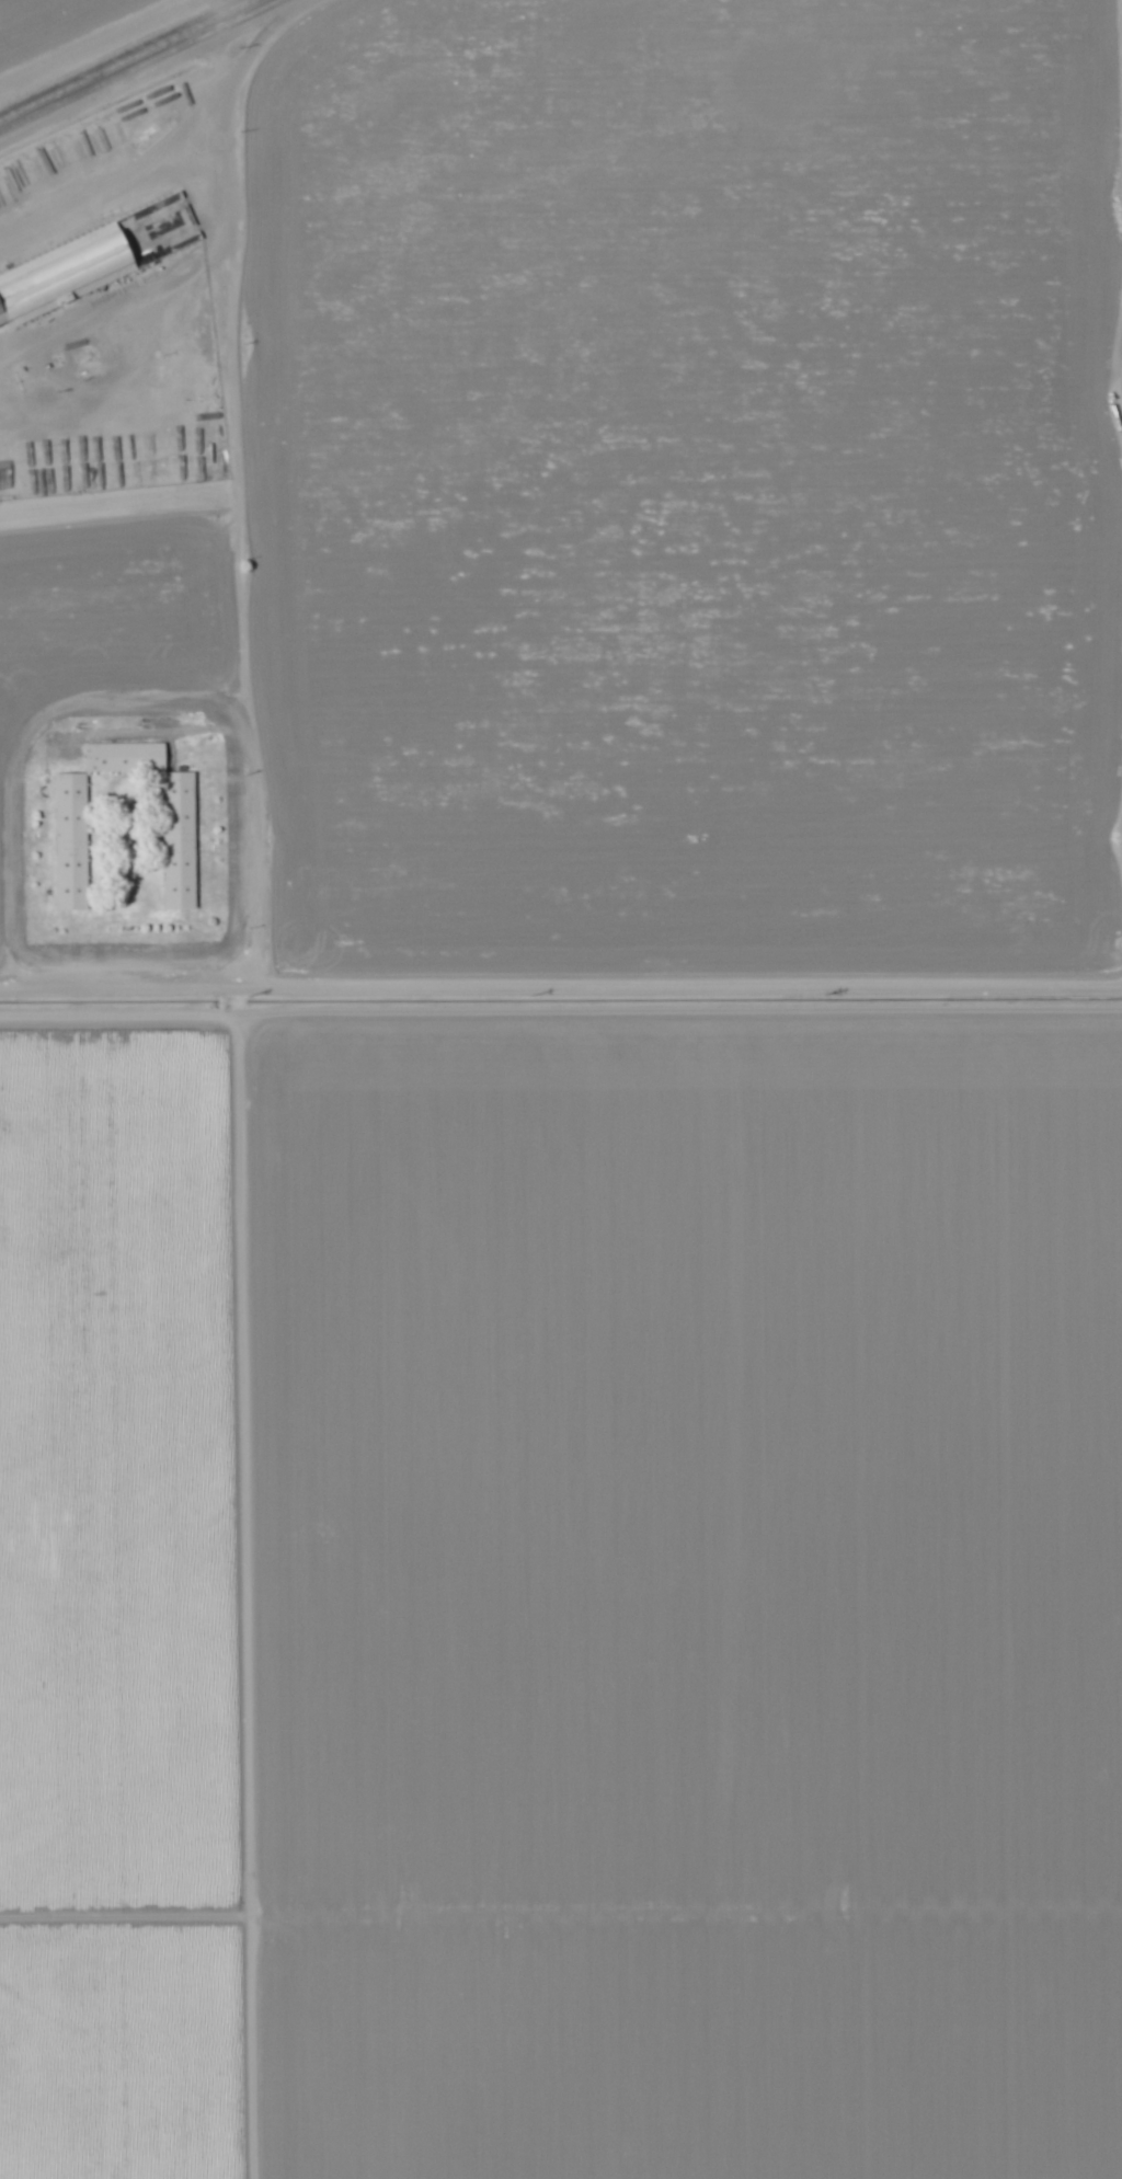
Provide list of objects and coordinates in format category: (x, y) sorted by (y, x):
road: (1121, 22)
crop: (83, 36)
railway: (117, 55)
road: (106, 57)
railway: (127, 60)
railway: (139, 66)
road: (1121, 172)
road: (1121, 174)
building: (60, 277)
building: (19, 454)
crop: (677, 480)
road: (237, 514)
crop: (116, 549)
road: (144, 702)
building: (119, 757)
building: (174, 841)
building: (68, 844)
road: (560, 990)
crop: (685, 1590)
crop: (123, 1599)

